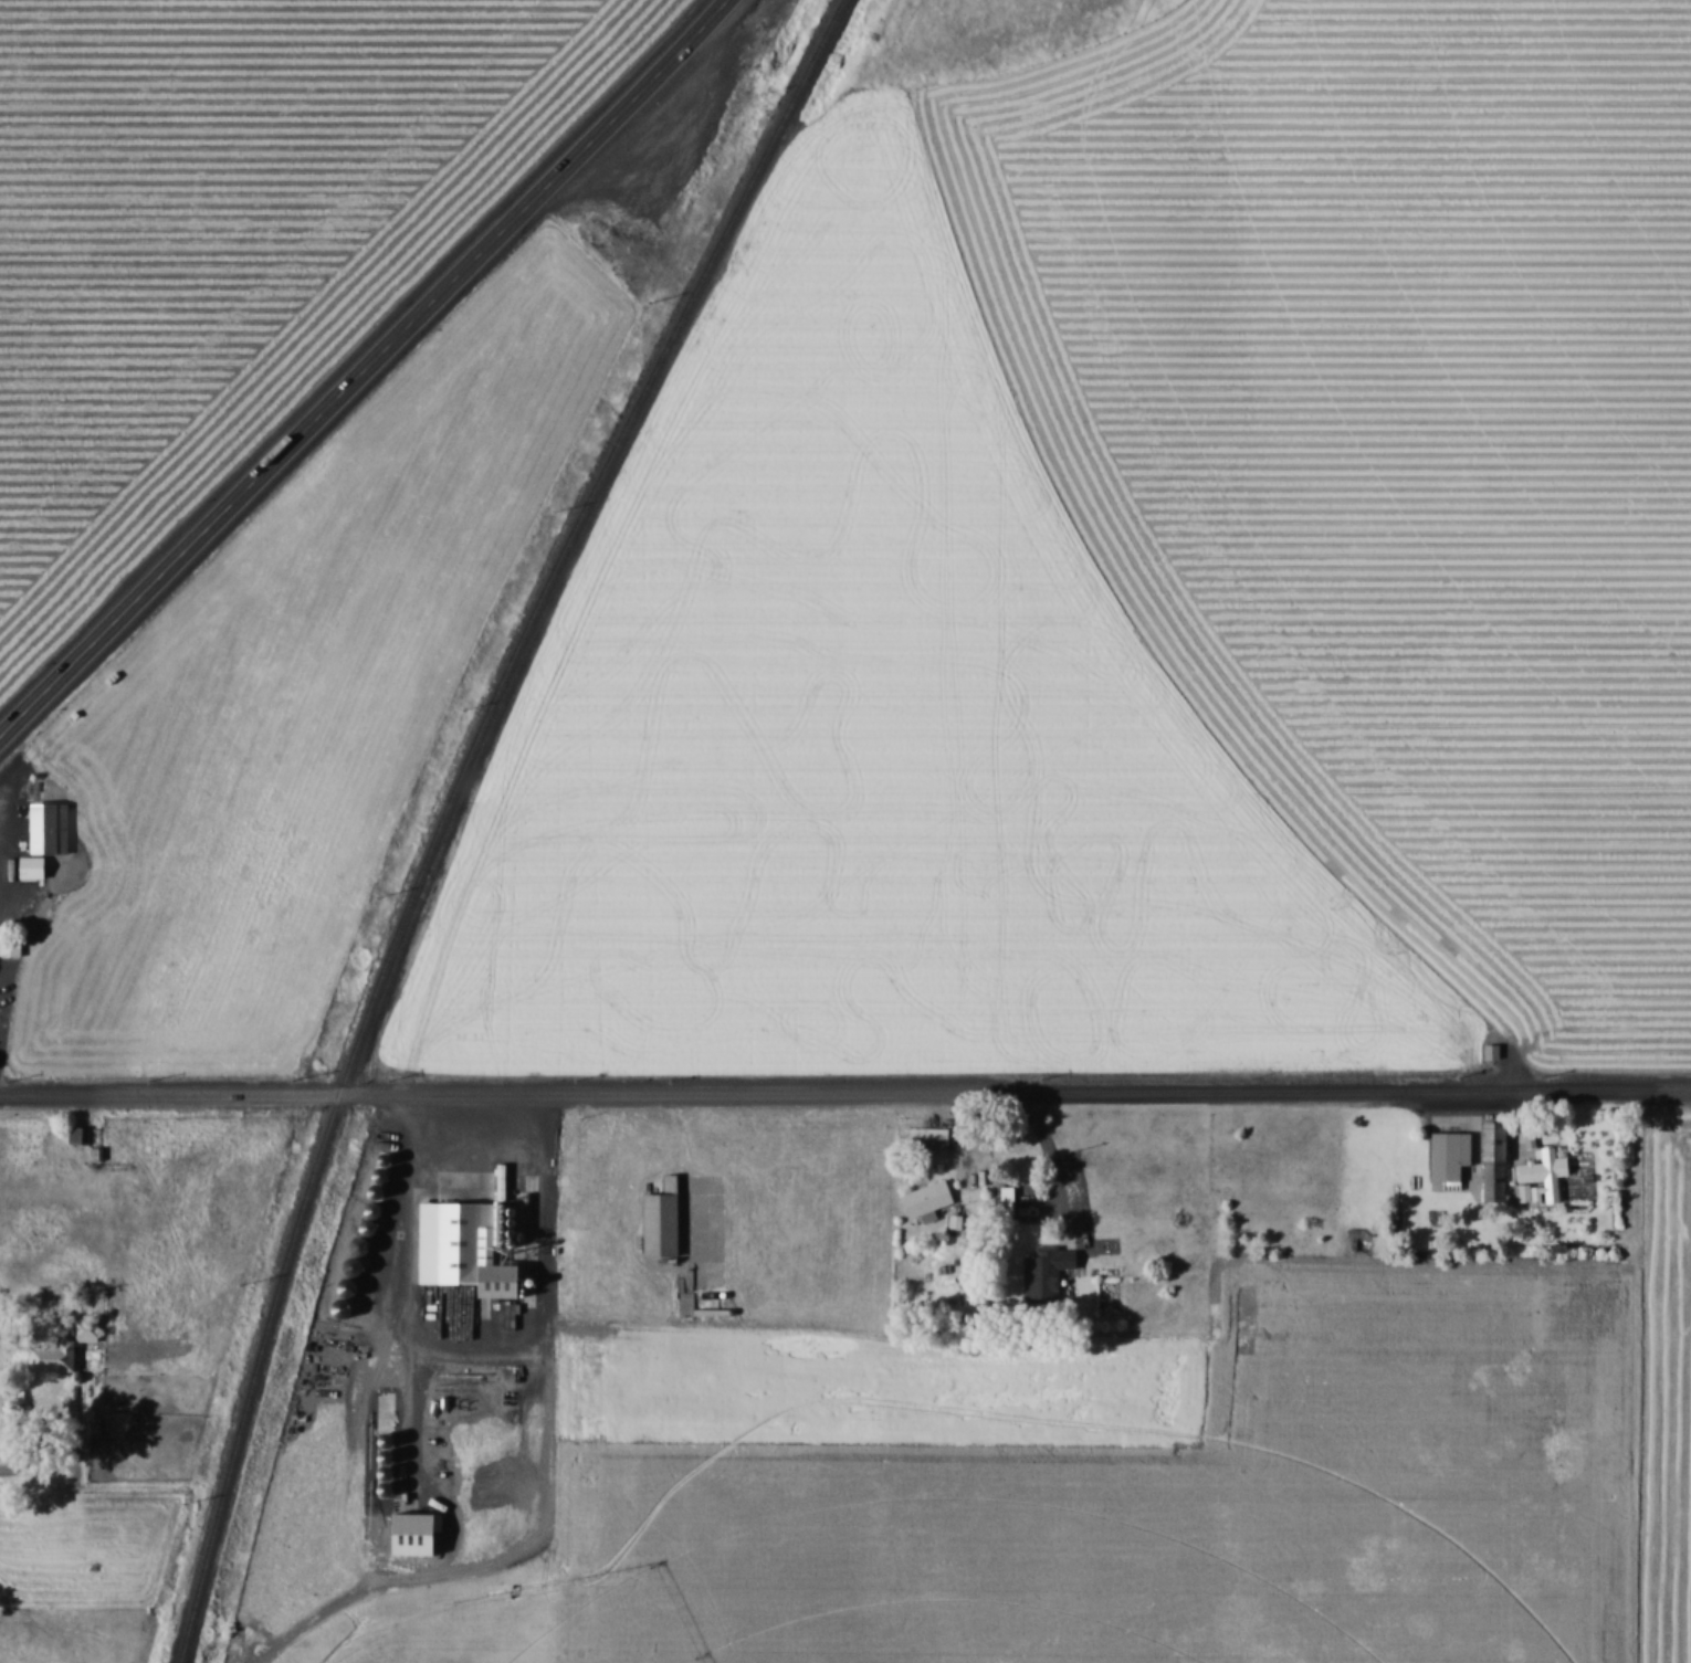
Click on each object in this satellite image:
crop: (239, 234)
road: (359, 377)
crop: (1385, 453)
crop: (291, 705)
crop: (879, 736)
railway: (450, 808)
road: (3, 817)
building: (53, 829)
building: (35, 865)
building: (13, 948)
building: (1490, 1051)
road: (845, 1093)
building: (84, 1133)
building: (927, 1137)
building: (1442, 1156)
building: (1490, 1161)
building: (1536, 1176)
building: (924, 1198)
building: (1006, 1199)
building: (658, 1220)
crop: (145, 1242)
building: (454, 1250)
building: (1044, 1271)
road: (402, 1293)
building: (91, 1329)
building: (50, 1358)
crop: (1662, 1399)
road: (36, 1466)
crop: (1126, 1483)
building: (403, 1533)
crop: (455, 1628)

